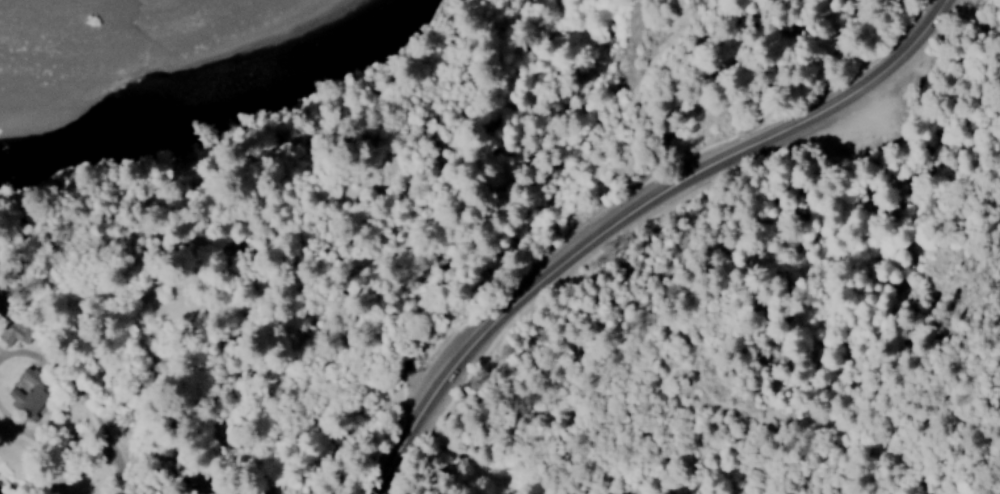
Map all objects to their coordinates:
river: (208, 98)
road: (635, 209)
road: (277, 292)
building: (31, 392)
road: (101, 398)
road: (19, 433)
building: (5, 493)

